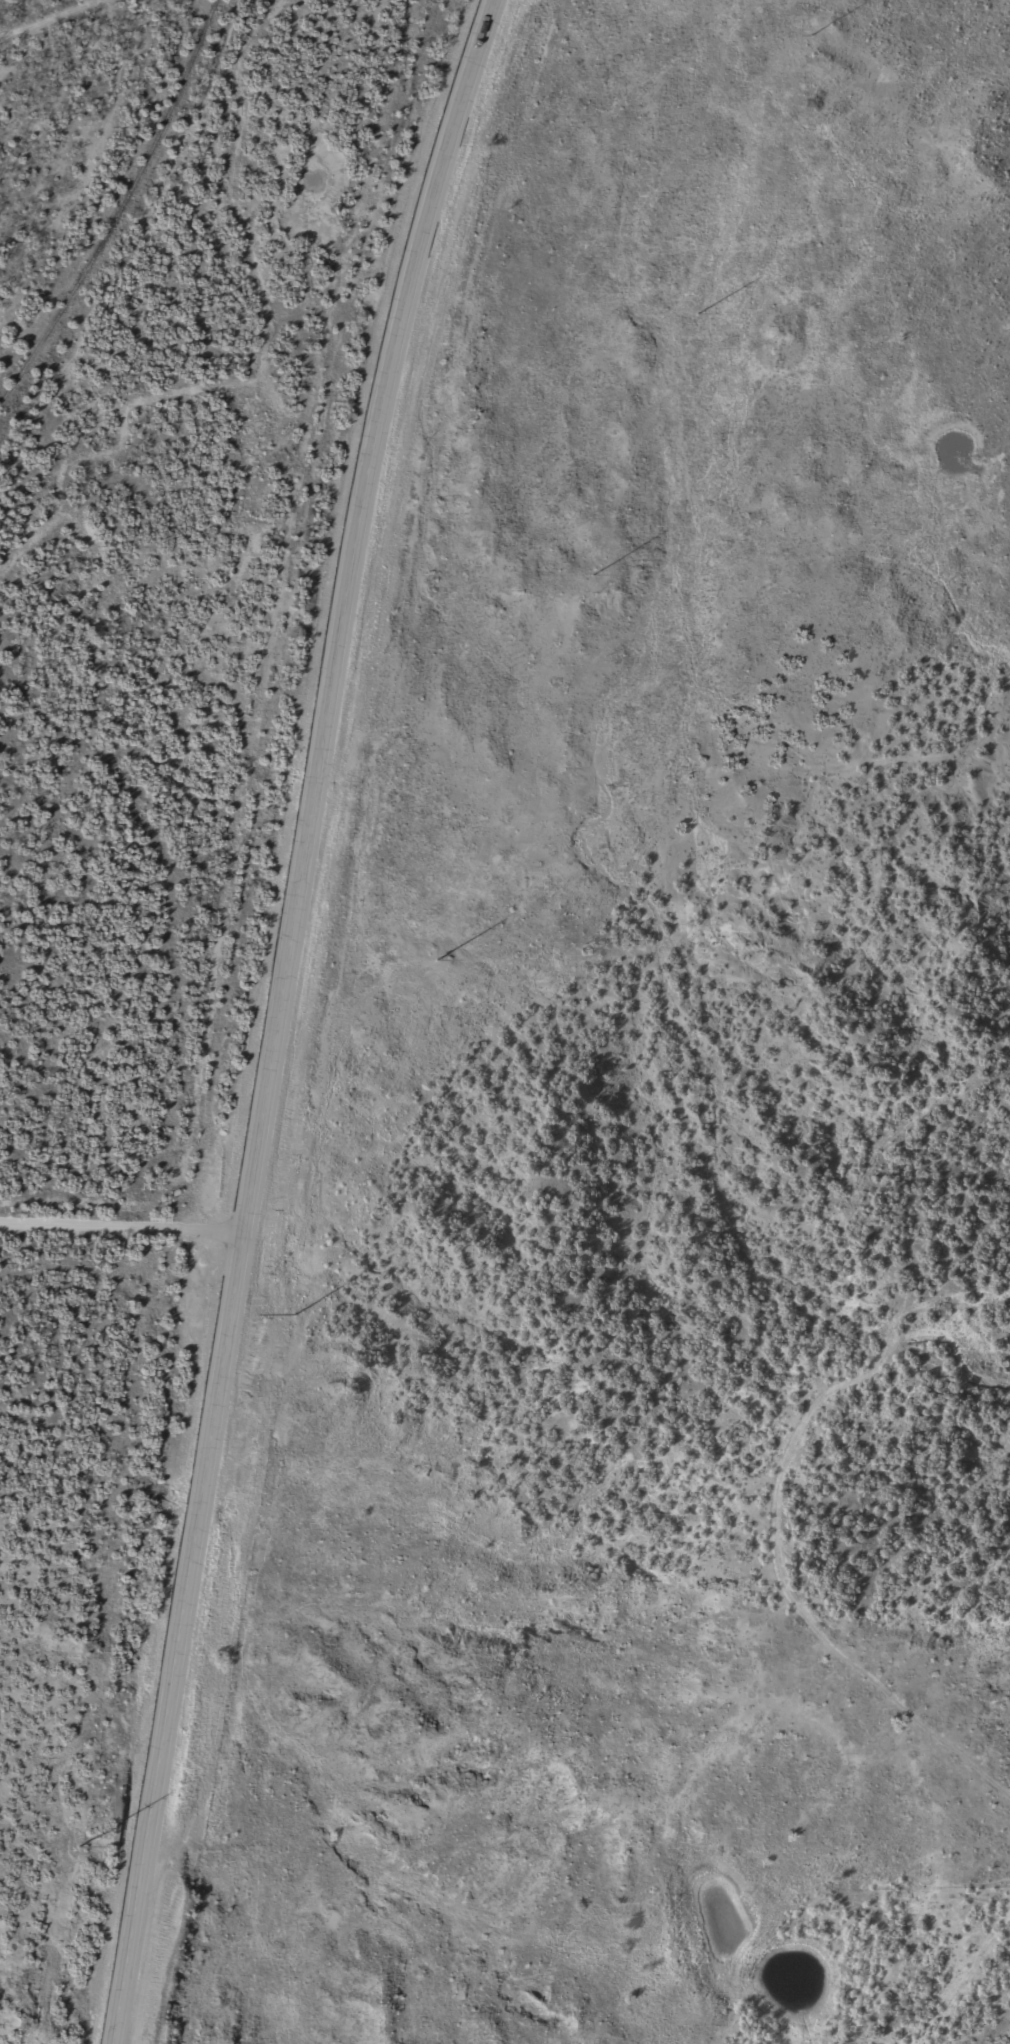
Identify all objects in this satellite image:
power tower: (808, 41)
road: (20, 46)
railway: (114, 213)
power tower: (697, 323)
power tower: (590, 583)
power tower: (440, 958)
road: (279, 1015)
road: (122, 1213)
power tower: (287, 1330)
road: (754, 1548)
power tower: (101, 1793)

